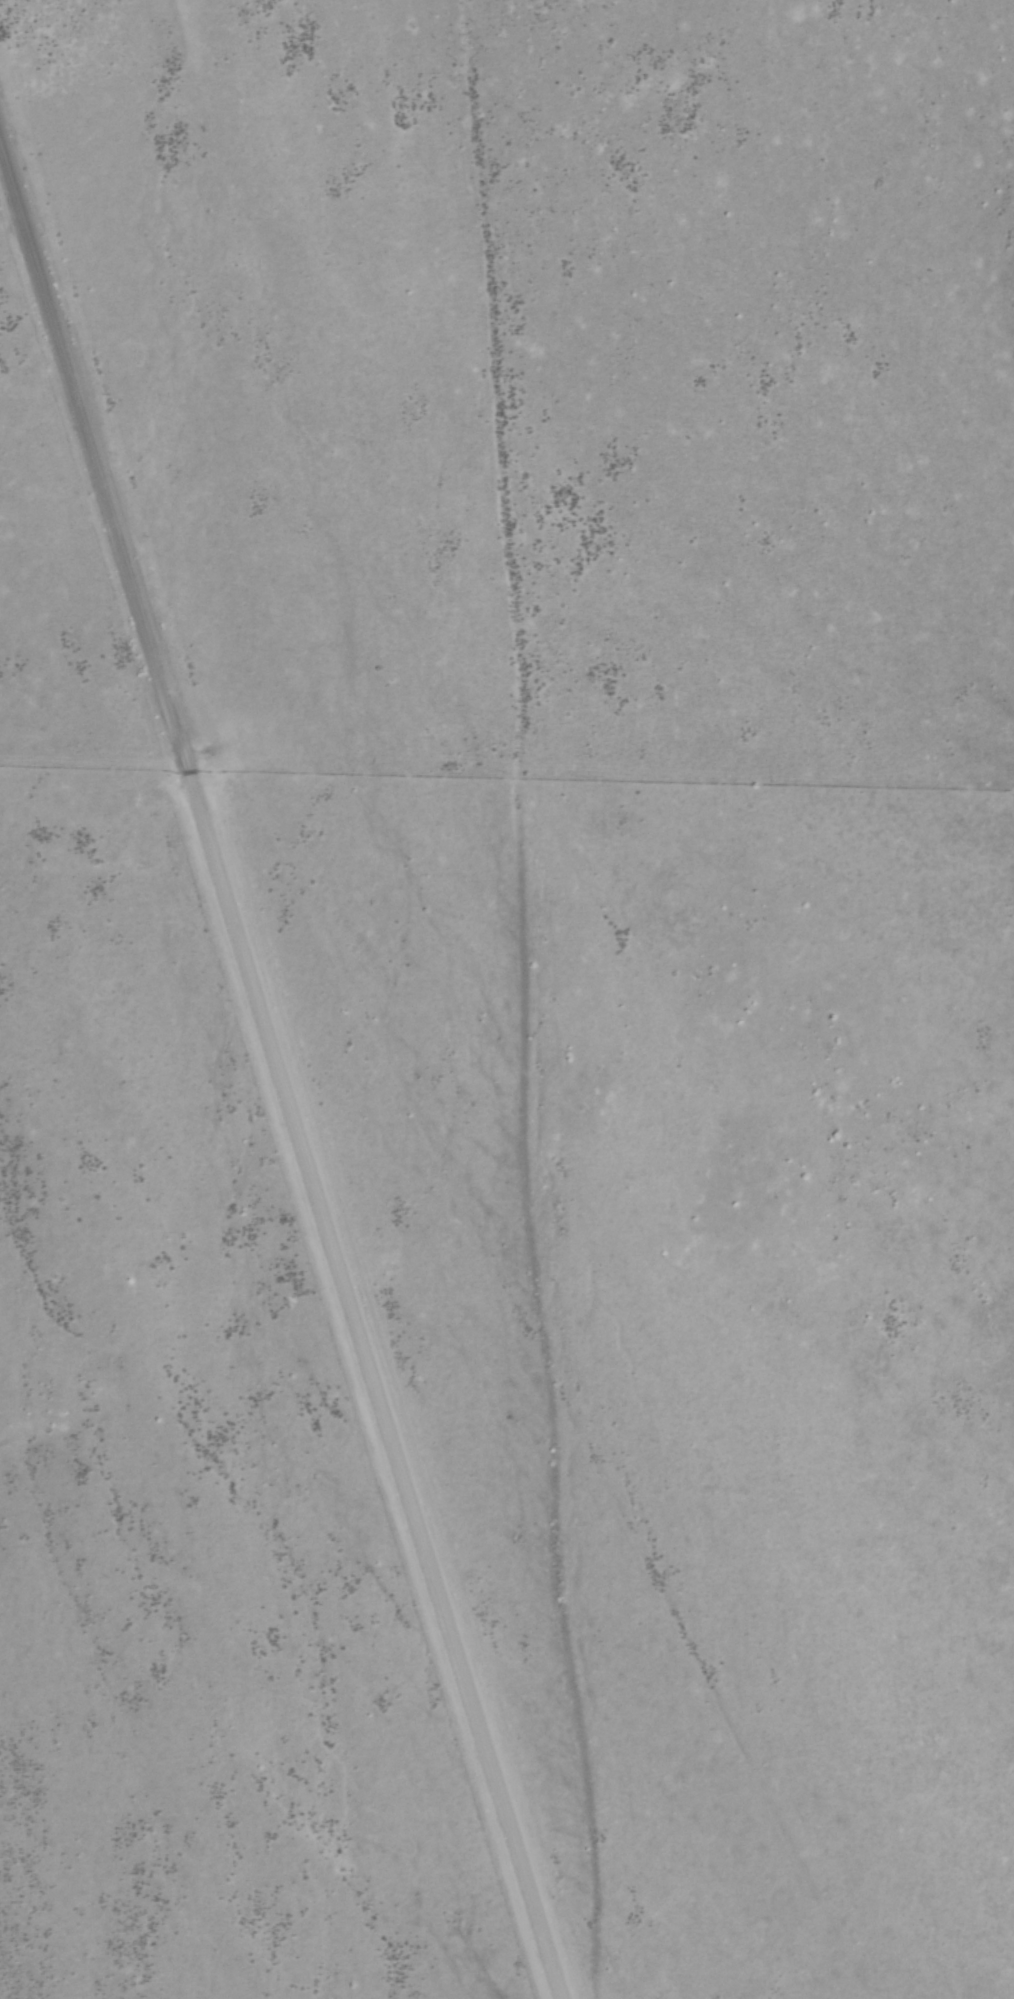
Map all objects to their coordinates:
road: (93, 456)
road: (376, 1384)

